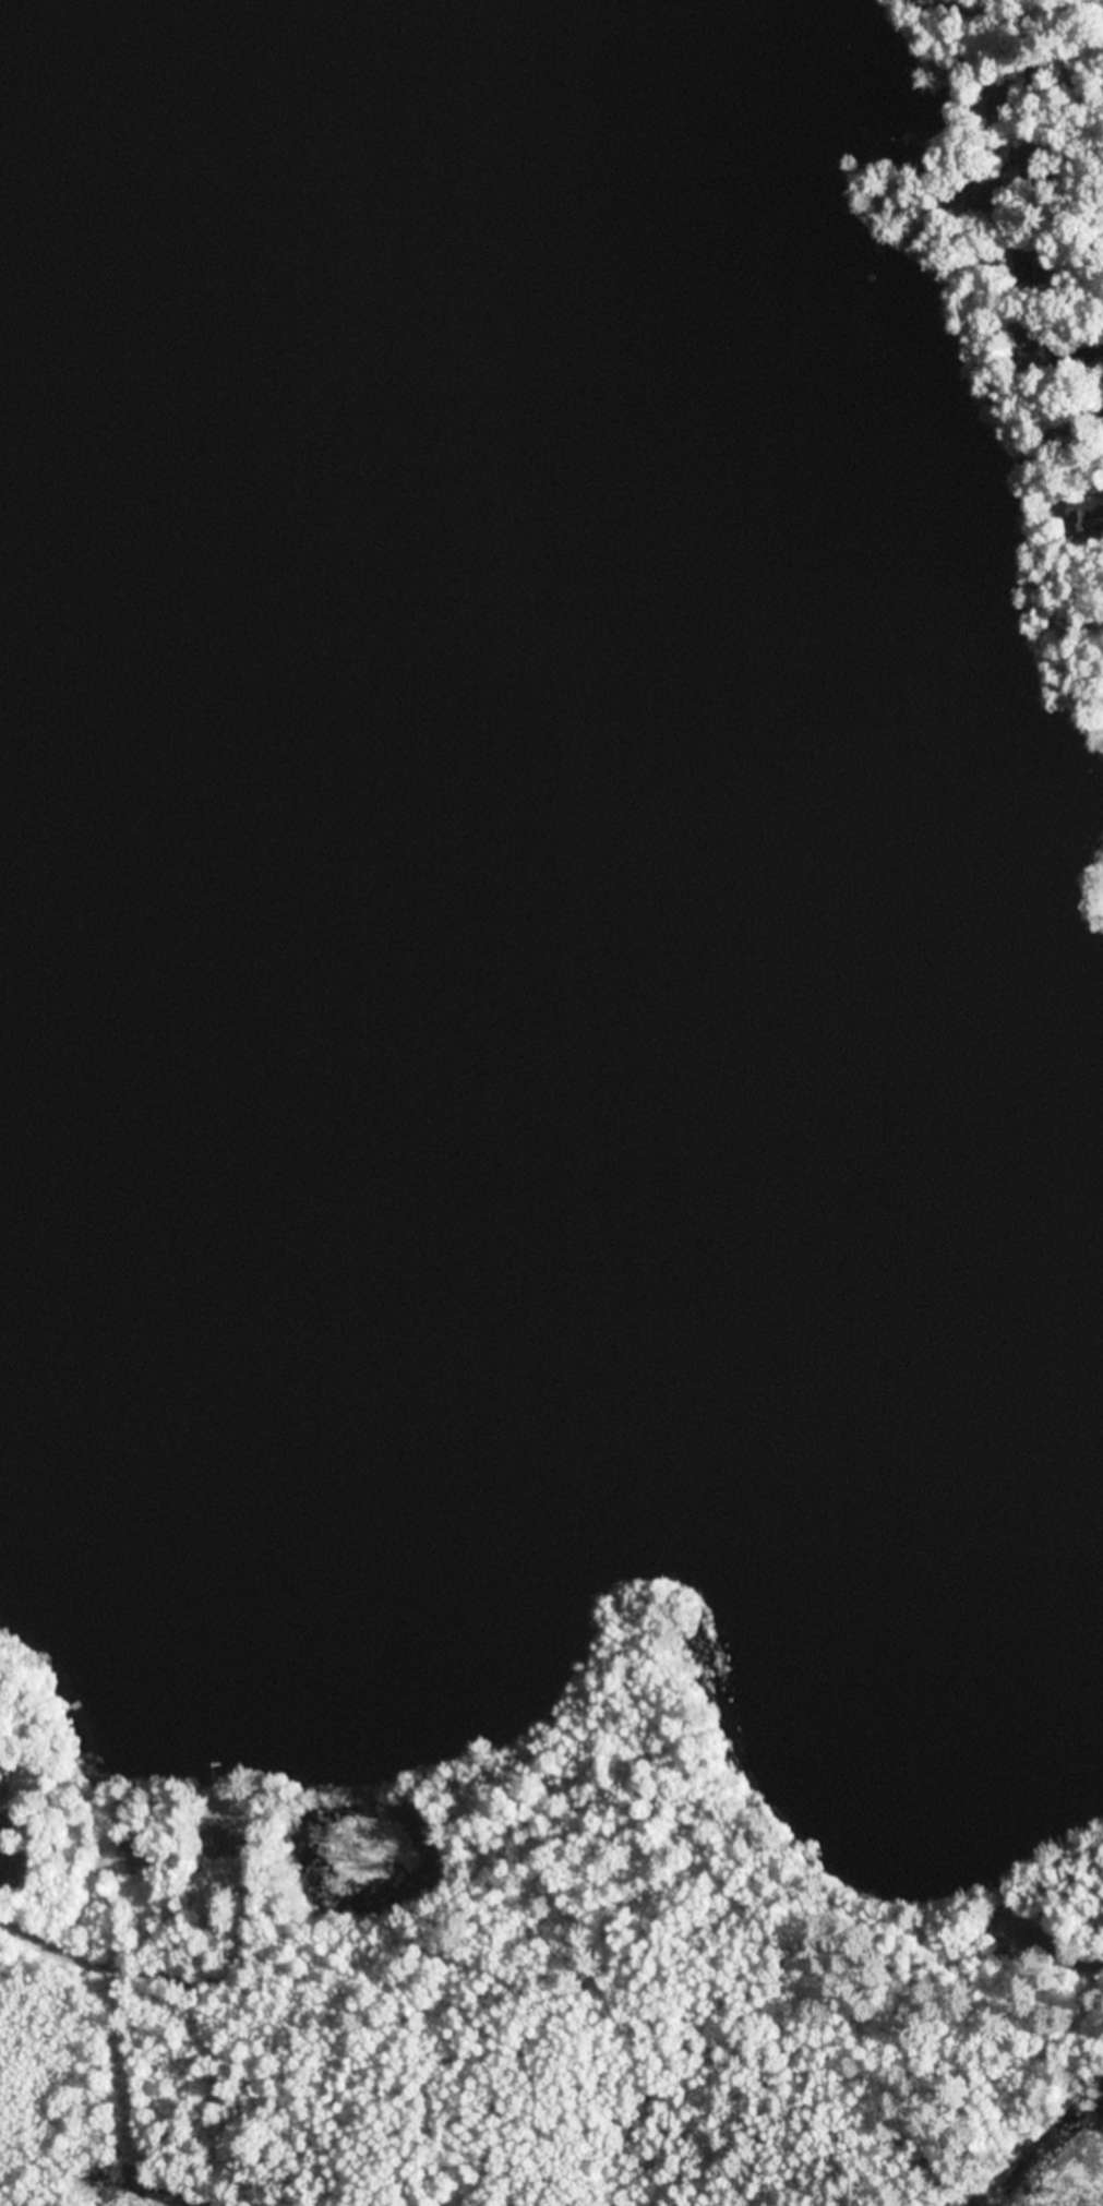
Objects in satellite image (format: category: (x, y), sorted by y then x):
building: (1023, 259)
building: (1034, 349)
building: (1088, 514)
building: (1, 1791)
building: (226, 1843)
building: (135, 1849)
building: (17, 1866)
road: (175, 1940)
road: (1038, 1994)

